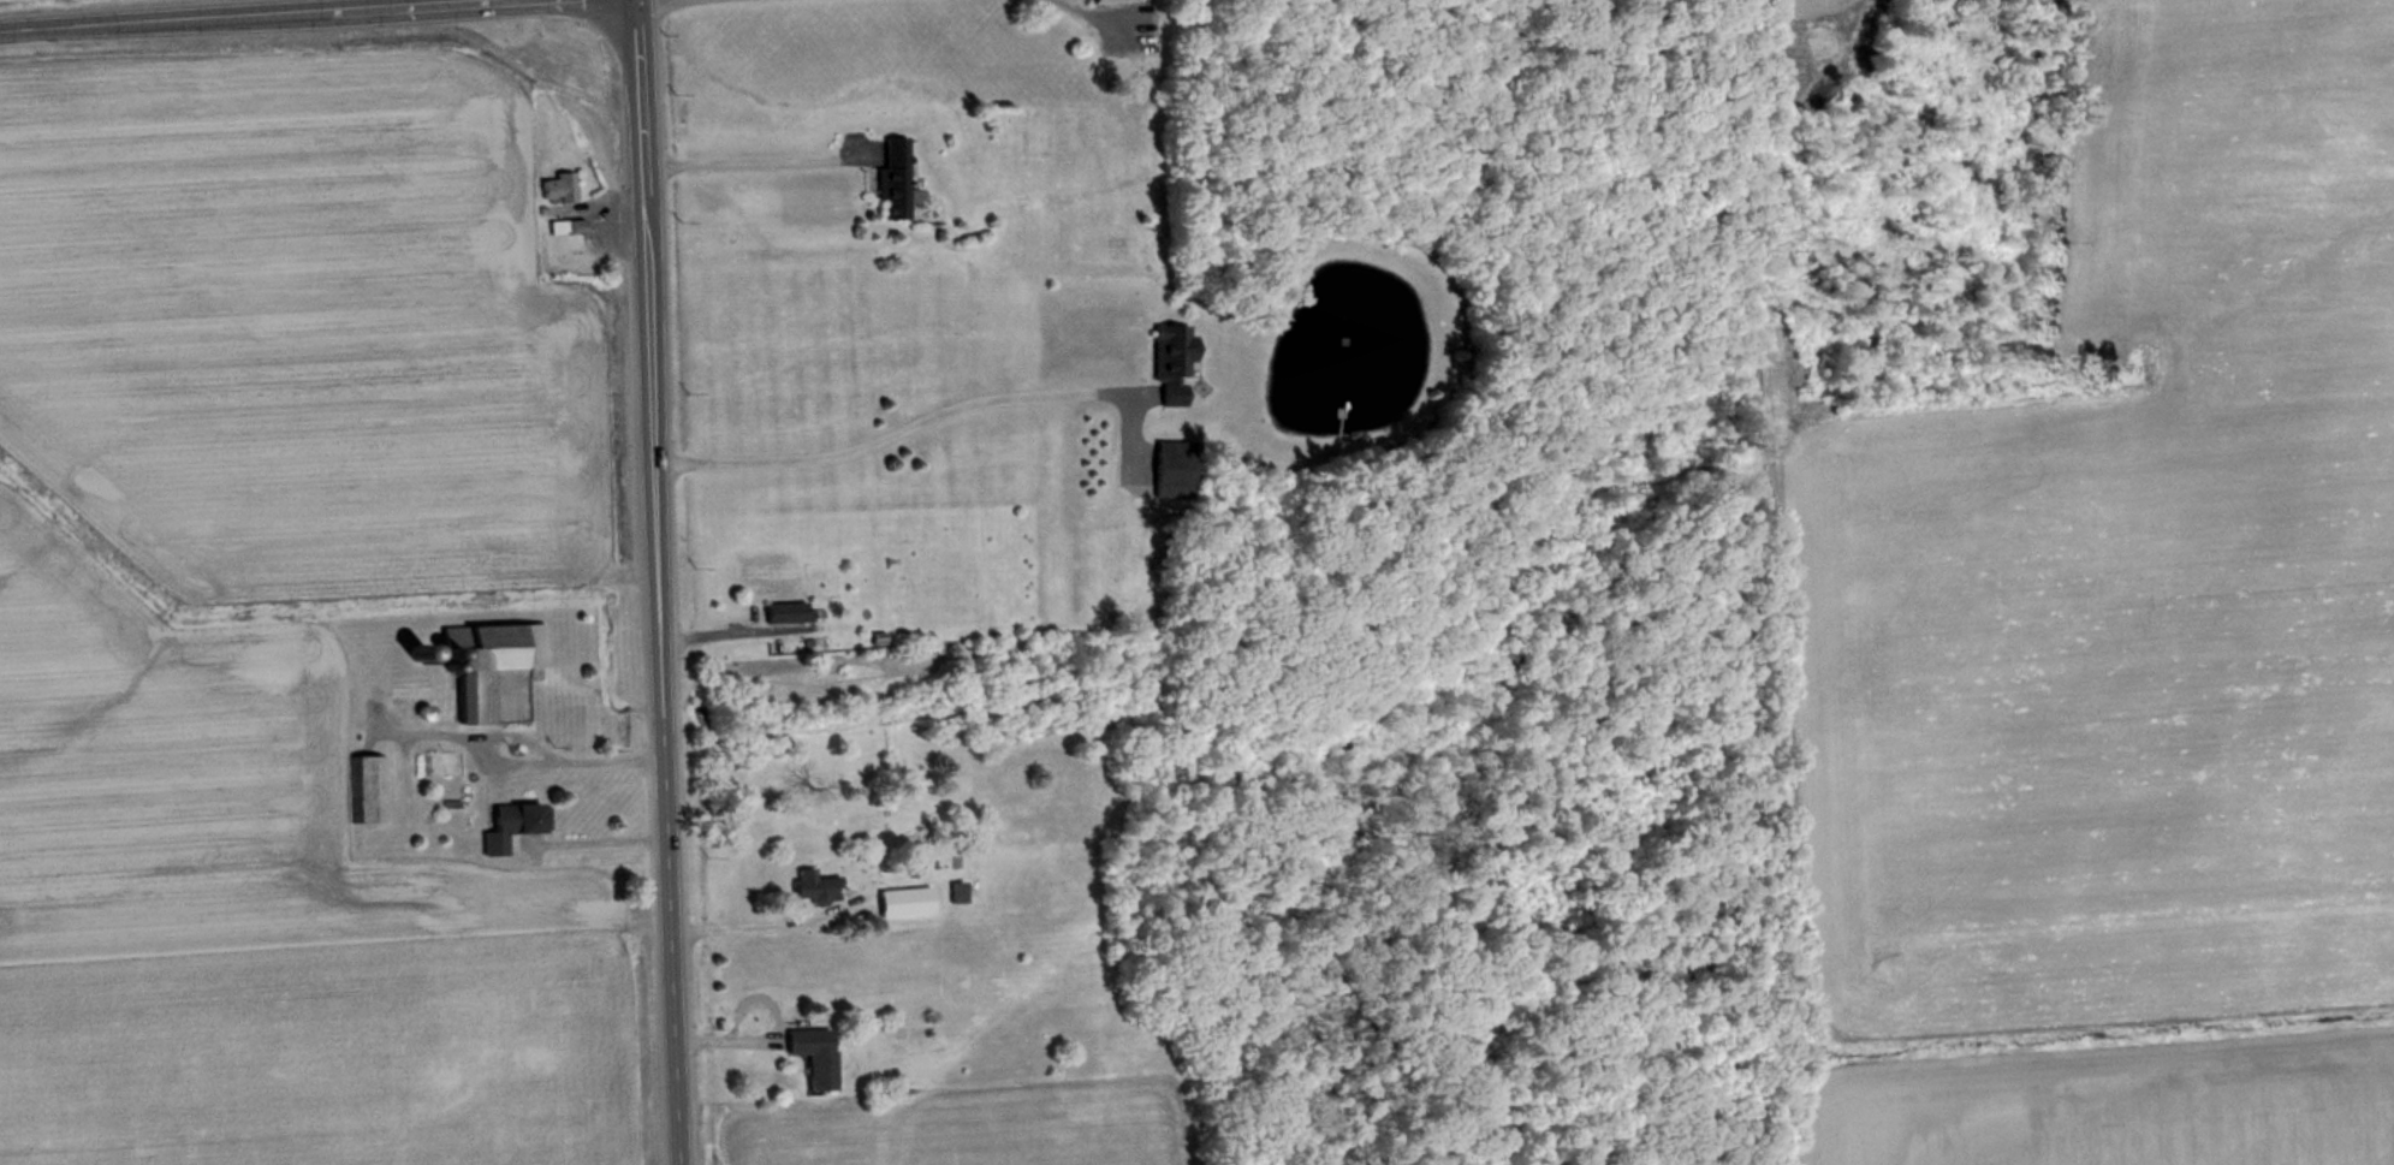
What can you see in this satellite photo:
building: (1109, 4)
road: (1097, 11)
road: (222, 13)
road: (537, 65)
road: (745, 147)
building: (893, 180)
building: (559, 190)
building: (566, 228)
building: (1171, 364)
road: (887, 422)
building: (1171, 466)
road: (648, 582)
building: (786, 614)
building: (486, 662)
building: (363, 781)
building: (507, 827)
building: (815, 890)
building: (956, 894)
road: (742, 914)
road: (771, 1022)
building: (814, 1058)

